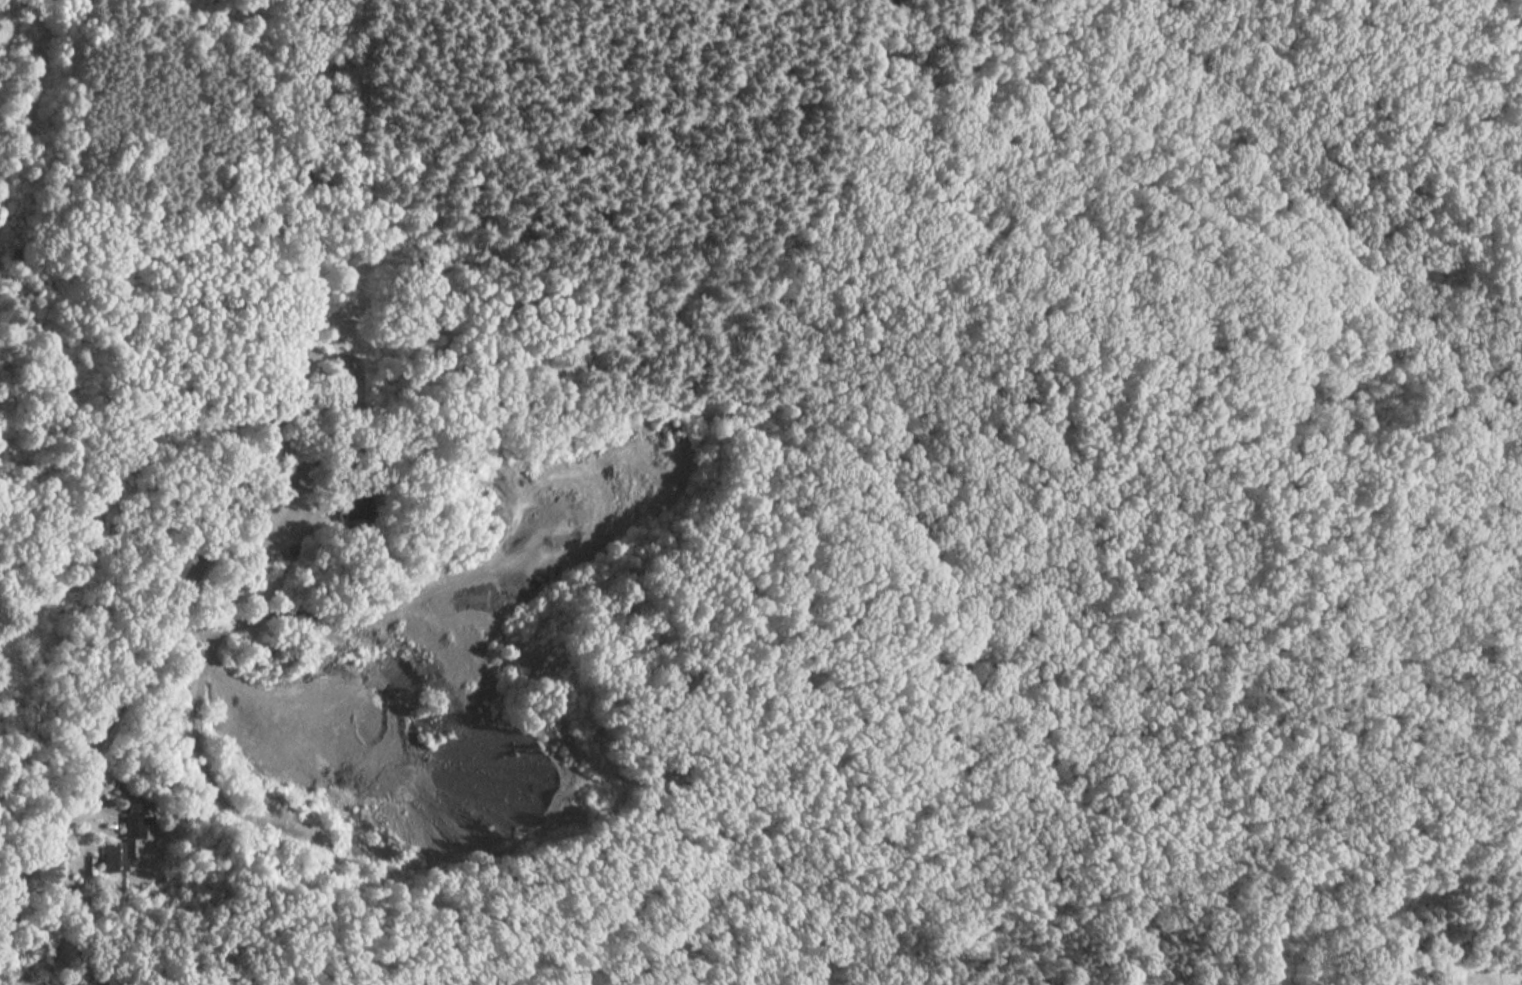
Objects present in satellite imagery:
road: (696, 122)
road: (1330, 227)
park: (134, 279)
road: (245, 480)
building: (355, 503)
quarry: (440, 658)
road: (1268, 809)
building: (129, 842)
road: (1369, 920)

